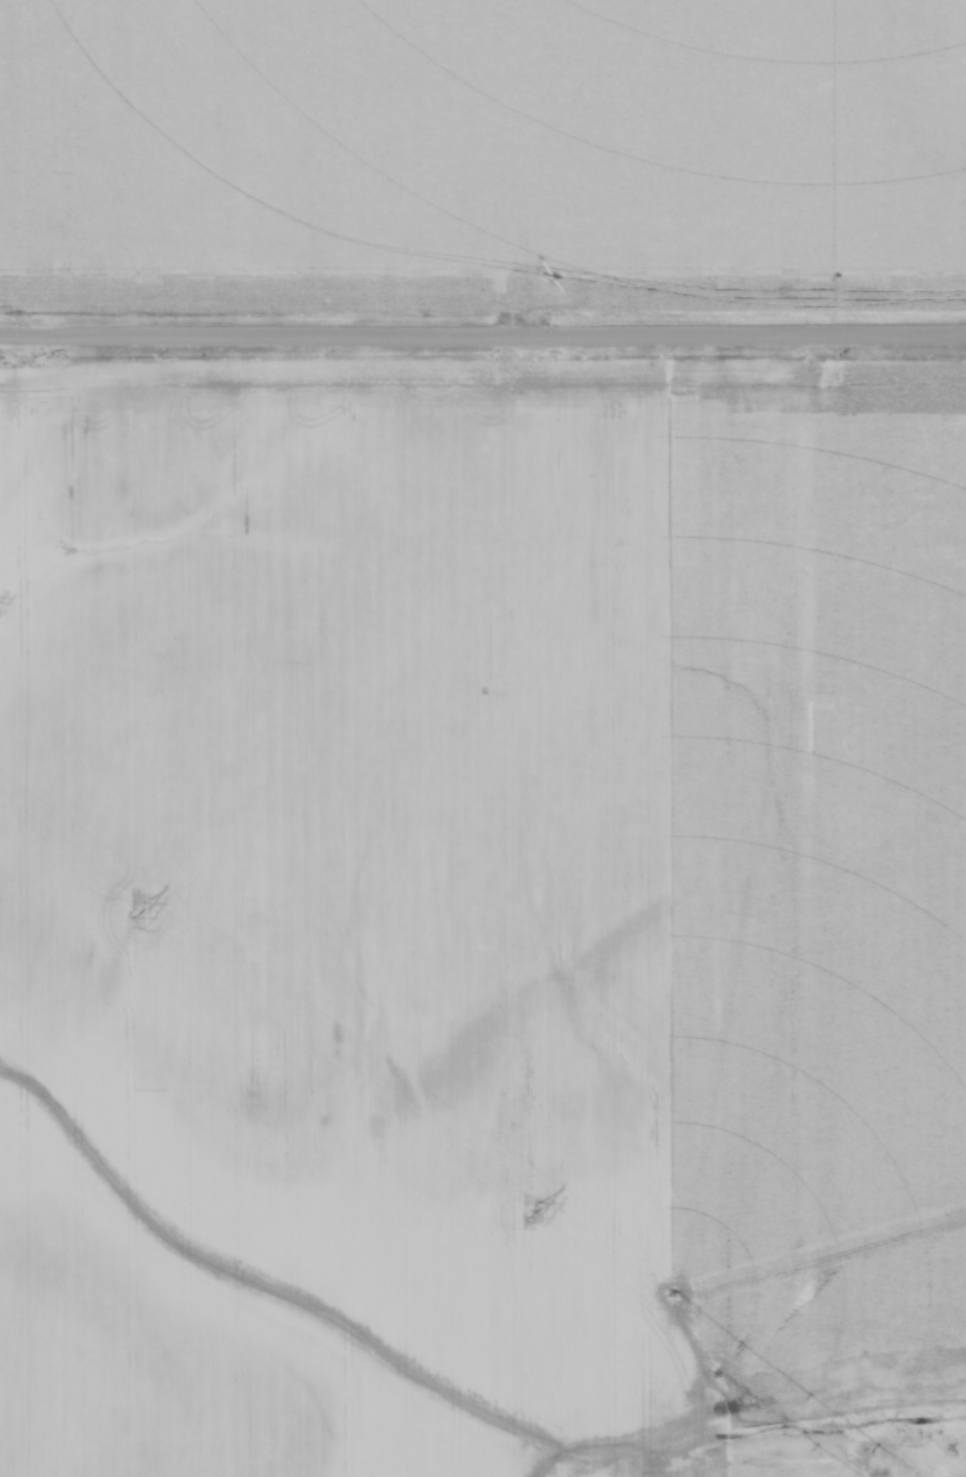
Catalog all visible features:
road: (483, 339)
power tower: (137, 912)
power tower: (536, 1213)

